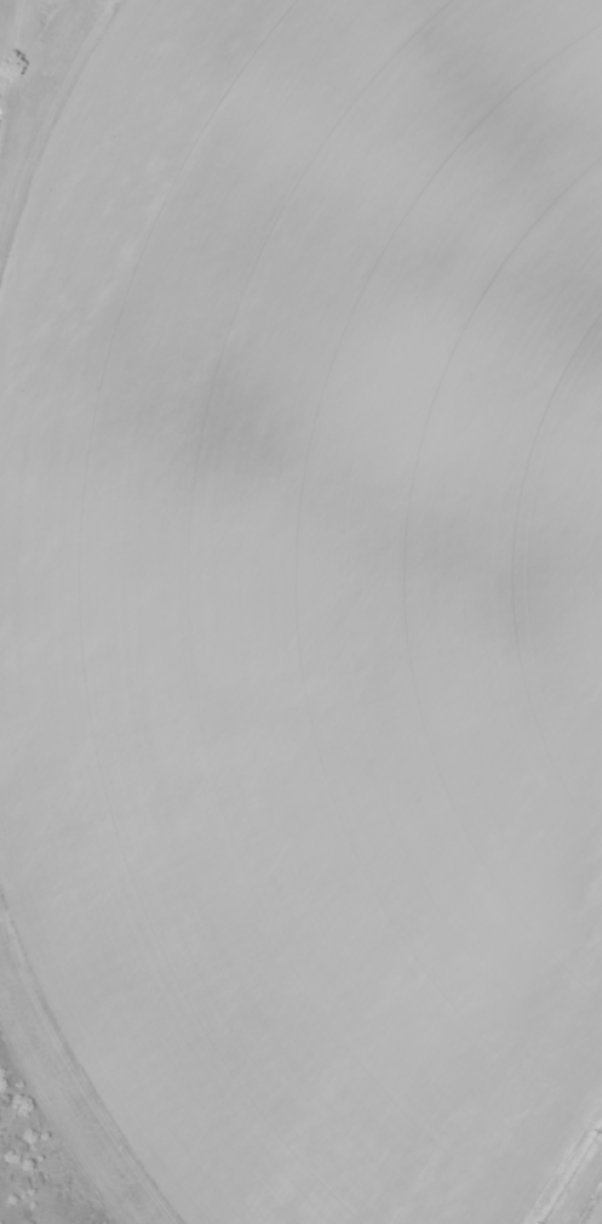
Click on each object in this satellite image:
road: (2, 21)
road: (591, 1207)

